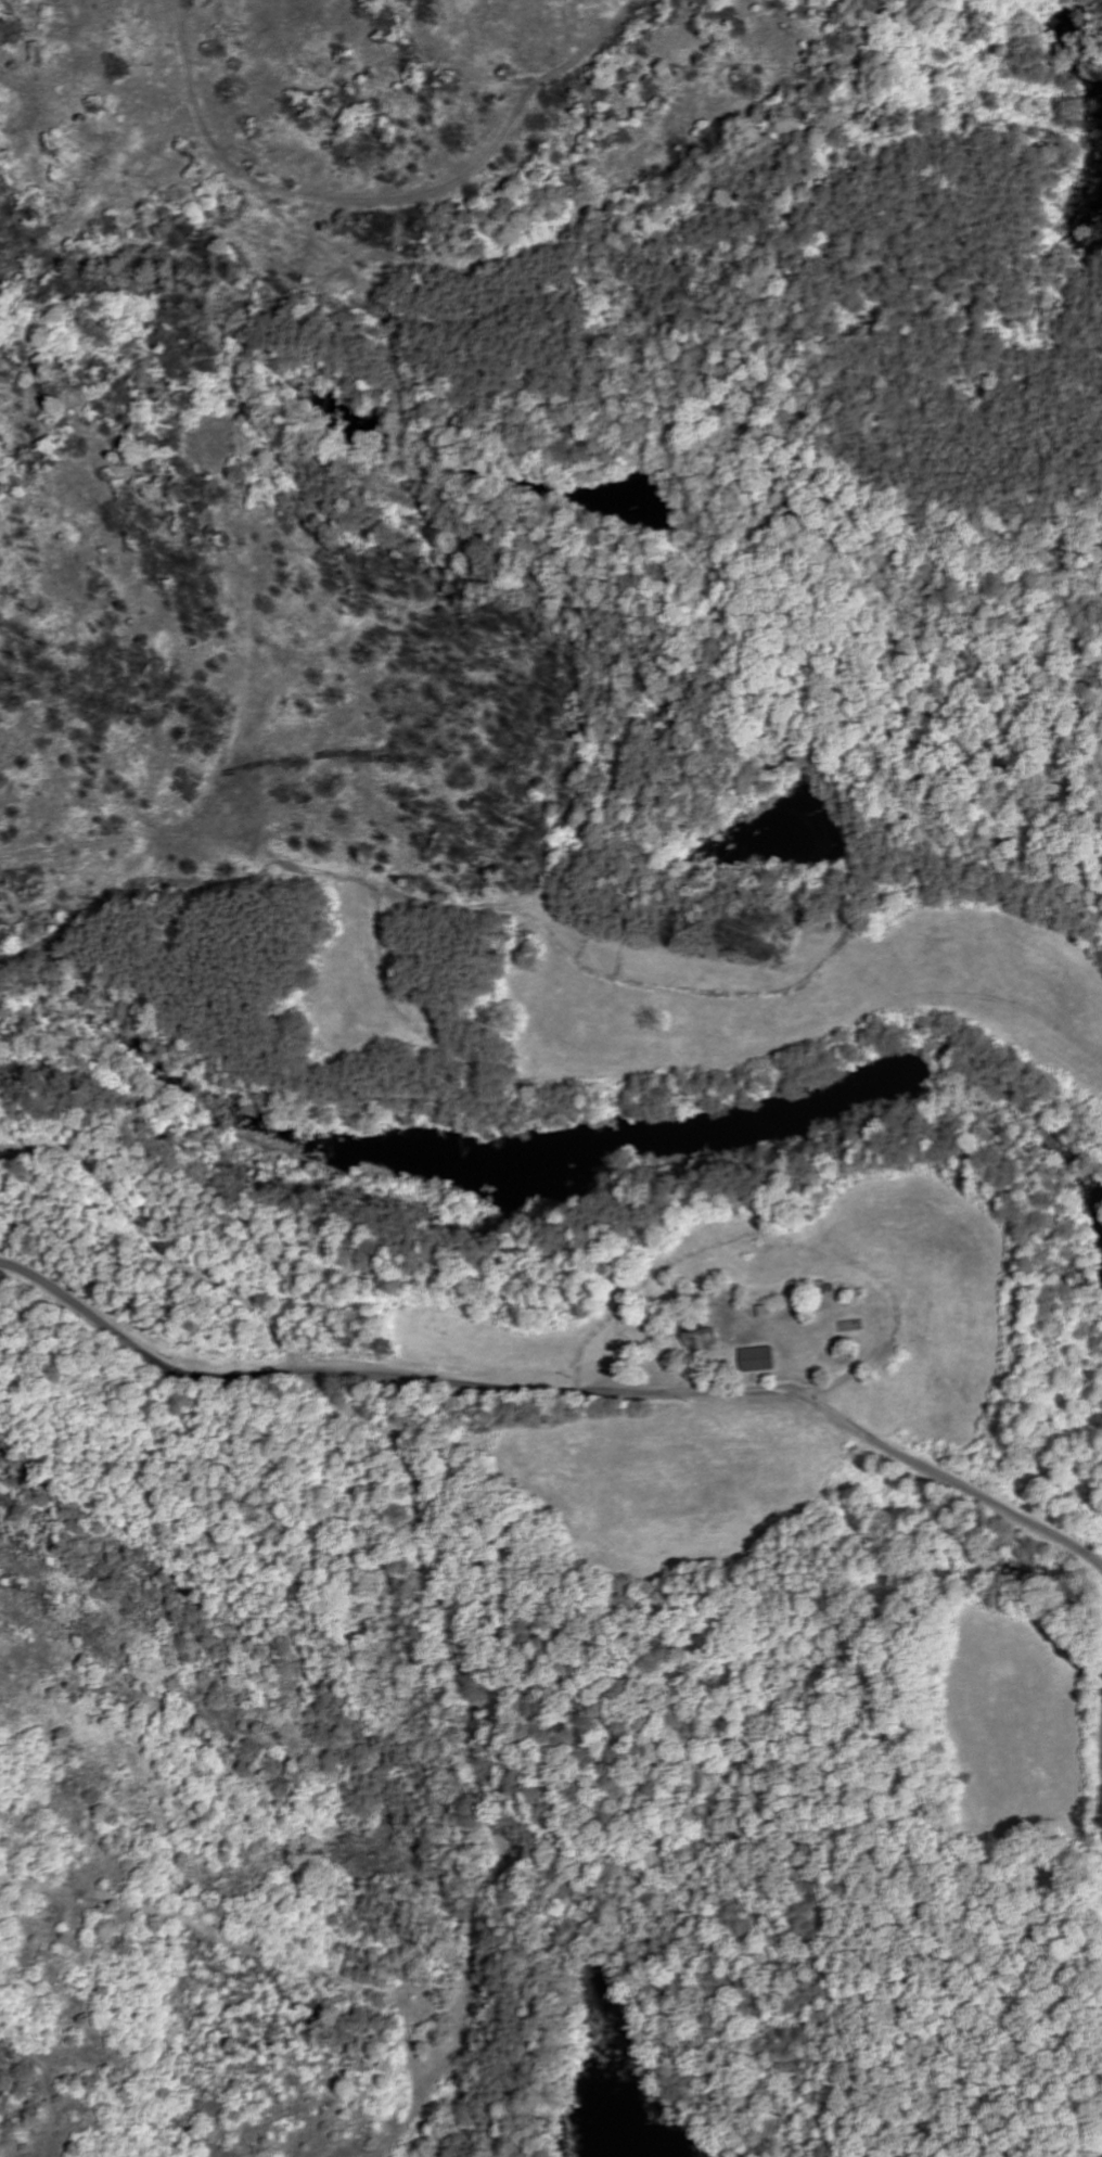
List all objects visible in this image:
road: (386, 201)
building: (754, 1361)
road: (556, 1390)
road: (478, 1748)
road: (43, 2088)

